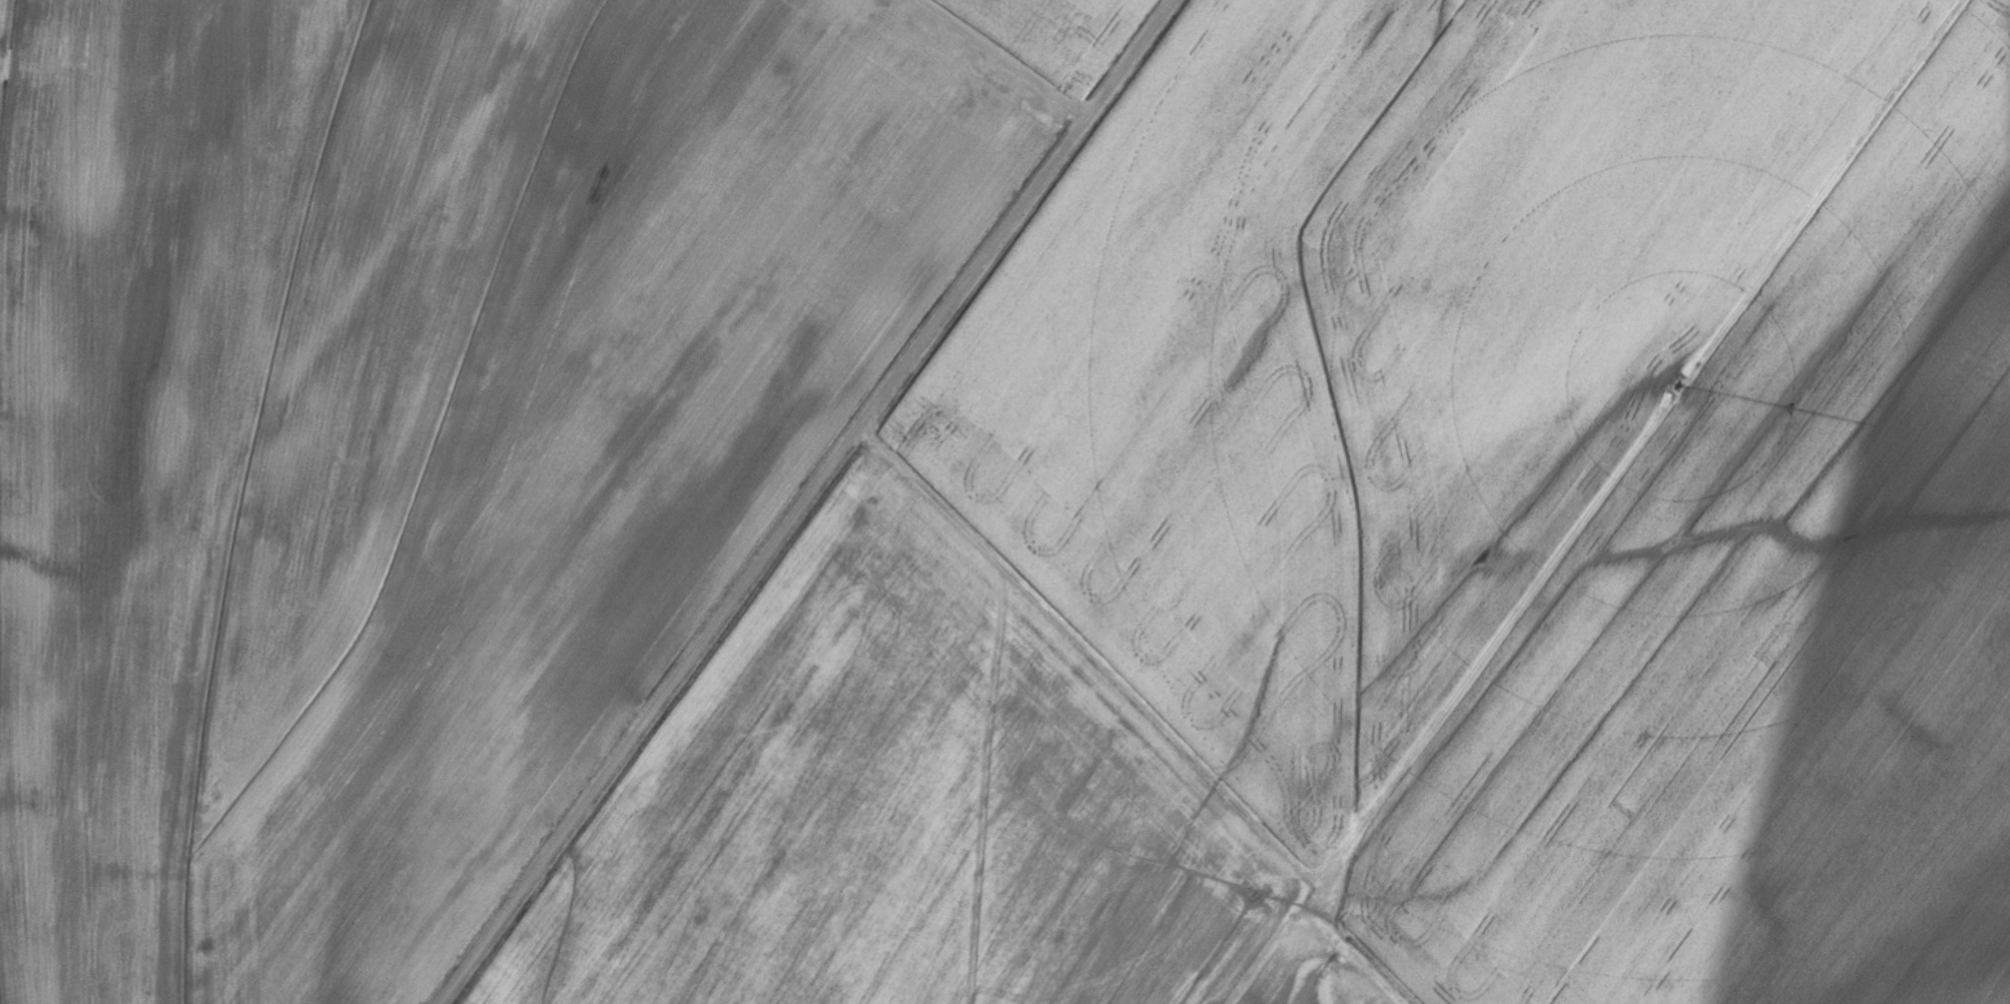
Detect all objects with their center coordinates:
road: (805, 501)

